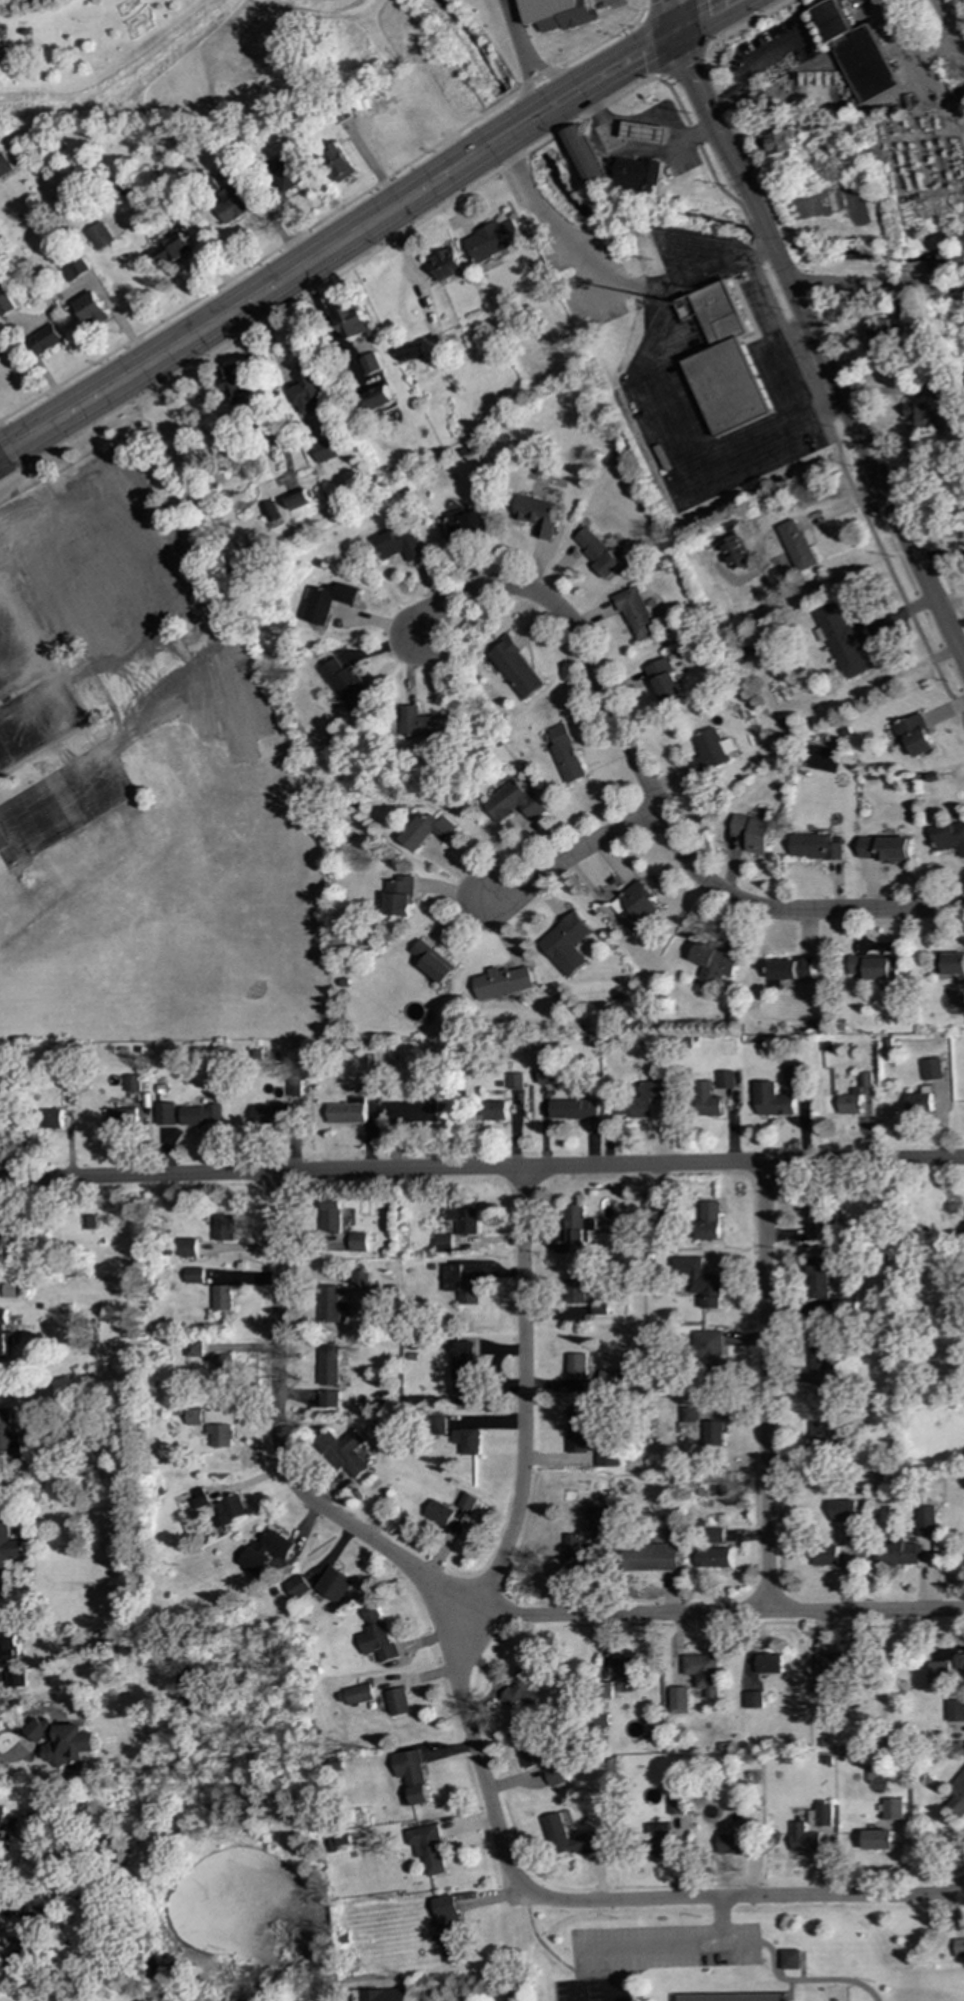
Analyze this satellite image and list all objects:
road: (737, 1)
road: (738, 1)
building: (556, 13)
road: (667, 17)
road: (703, 18)
road: (949, 22)
road: (747, 23)
traffic signals: (673, 34)
road: (526, 54)
building: (857, 54)
road: (658, 73)
building: (961, 93)
building: (645, 132)
building: (778, 142)
road: (699, 147)
road: (633, 149)
building: (581, 156)
building: (340, 163)
building: (3, 165)
building: (637, 173)
building: (285, 174)
building: (230, 203)
road: (322, 218)
road: (749, 227)
building: (98, 236)
building: (495, 239)
road: (337, 245)
building: (173, 249)
building: (952, 251)
building: (445, 264)
building: (73, 269)
road: (325, 280)
road: (875, 284)
road: (598, 288)
building: (5, 305)
building: (90, 310)
building: (351, 322)
road: (790, 329)
building: (886, 333)
building: (44, 339)
road: (777, 339)
road: (816, 347)
building: (411, 353)
building: (722, 361)
building: (371, 364)
building: (232, 385)
building: (942, 390)
building: (307, 394)
building: (376, 398)
building: (917, 417)
building: (325, 450)
road: (10, 456)
road: (679, 464)
road: (849, 486)
building: (298, 501)
building: (270, 511)
building: (538, 515)
building: (465, 524)
building: (39, 535)
building: (397, 543)
building: (796, 545)
building: (597, 552)
building: (735, 552)
building: (326, 601)
building: (635, 612)
road: (10, 638)
building: (839, 639)
road: (31, 650)
building: (514, 668)
building: (665, 680)
building: (344, 684)
road: (66, 714)
building: (419, 723)
building: (914, 734)
building: (708, 753)
building: (566, 754)
road: (649, 791)
building: (511, 803)
road: (502, 829)
building: (425, 830)
building: (751, 832)
building: (949, 837)
building: (814, 847)
building: (884, 849)
road: (568, 856)
building: (398, 896)
building: (632, 905)
building: (564, 944)
building: (712, 961)
building: (432, 962)
building: (950, 964)
building: (872, 967)
building: (790, 969)
building: (501, 982)
building: (930, 1069)
building: (550, 1074)
building: (795, 1076)
building: (725, 1079)
building: (865, 1079)
building: (514, 1081)
building: (130, 1083)
building: (293, 1087)
building: (363, 1087)
building: (641, 1100)
building: (706, 1100)
building: (772, 1100)
building: (917, 1101)
building: (850, 1103)
building: (0, 1109)
building: (572, 1109)
building: (493, 1110)
building: (346, 1112)
building: (410, 1112)
building: (163, 1114)
building: (198, 1115)
building: (269, 1115)
building: (118, 1117)
building: (48, 1119)
road: (481, 1168)
building: (329, 1214)
building: (462, 1220)
building: (708, 1220)
building: (820, 1221)
building: (575, 1226)
building: (222, 1228)
building: (356, 1242)
building: (1, 1243)
building: (443, 1243)
building: (186, 1247)
building: (192, 1275)
building: (818, 1278)
building: (358, 1280)
building: (698, 1280)
building: (459, 1285)
building: (575, 1290)
building: (221, 1297)
building: (844, 1303)
building: (330, 1304)
building: (3, 1337)
building: (192, 1349)
building: (707, 1350)
building: (821, 1360)
building: (464, 1362)
building: (220, 1365)
building: (327, 1365)
building: (575, 1365)
building: (609, 1378)
road: (765, 1388)
building: (464, 1393)
road: (522, 1393)
building: (328, 1399)
building: (688, 1414)
building: (193, 1417)
building: (437, 1425)
building: (577, 1429)
building: (4, 1430)
building: (712, 1433)
building: (219, 1435)
building: (819, 1435)
building: (466, 1441)
building: (344, 1453)
building: (607, 1455)
building: (198, 1498)
building: (467, 1502)
building: (229, 1510)
building: (843, 1511)
building: (438, 1513)
building: (926, 1521)
building: (599, 1524)
building: (715, 1535)
building: (8, 1542)
building: (265, 1551)
building: (896, 1552)
building: (575, 1554)
building: (824, 1556)
building: (651, 1557)
building: (713, 1558)
building: (334, 1584)
building: (296, 1586)
road: (454, 1597)
building: (377, 1635)
road: (601, 1642)
building: (8, 1646)
building: (958, 1663)
building: (768, 1664)
building: (622, 1666)
building: (834, 1668)
building: (702, 1672)
building: (937, 1674)
building: (16, 1678)
building: (520, 1689)
building: (356, 1695)
building: (679, 1698)
building: (753, 1700)
building: (398, 1701)
building: (954, 1711)
building: (62, 1741)
building: (529, 1749)
road: (8, 1756)
building: (554, 1774)
building: (411, 1777)
building: (957, 1795)
building: (676, 1802)
building: (891, 1809)
building: (819, 1814)
building: (4, 1824)
building: (569, 1838)
building: (802, 1838)
building: (876, 1840)
building: (734, 1841)
building: (427, 1847)
road: (600, 1882)
road: (596, 1902)
building: (34, 1922)
road: (718, 1924)
building: (450, 1928)
road: (537, 1947)
building: (958, 1947)
park: (712, 1948)
road: (661, 1953)
parking lot: (662, 1953)
building: (18, 1959)
building: (789, 1959)
road: (800, 1985)
park: (594, 1992)
building: (373, 1995)
building: (719, 1997)

